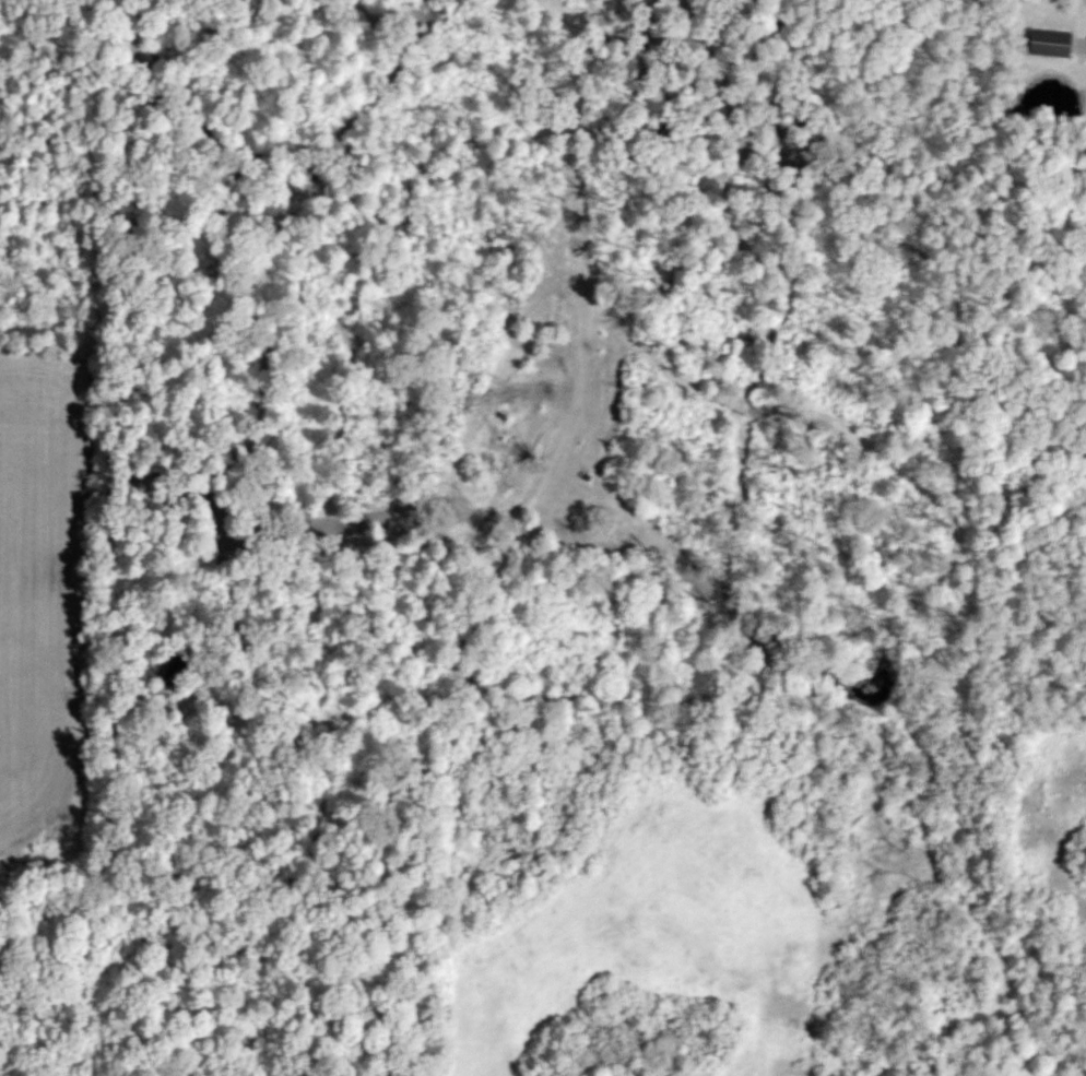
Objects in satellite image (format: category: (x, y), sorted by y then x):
building: (1046, 42)

